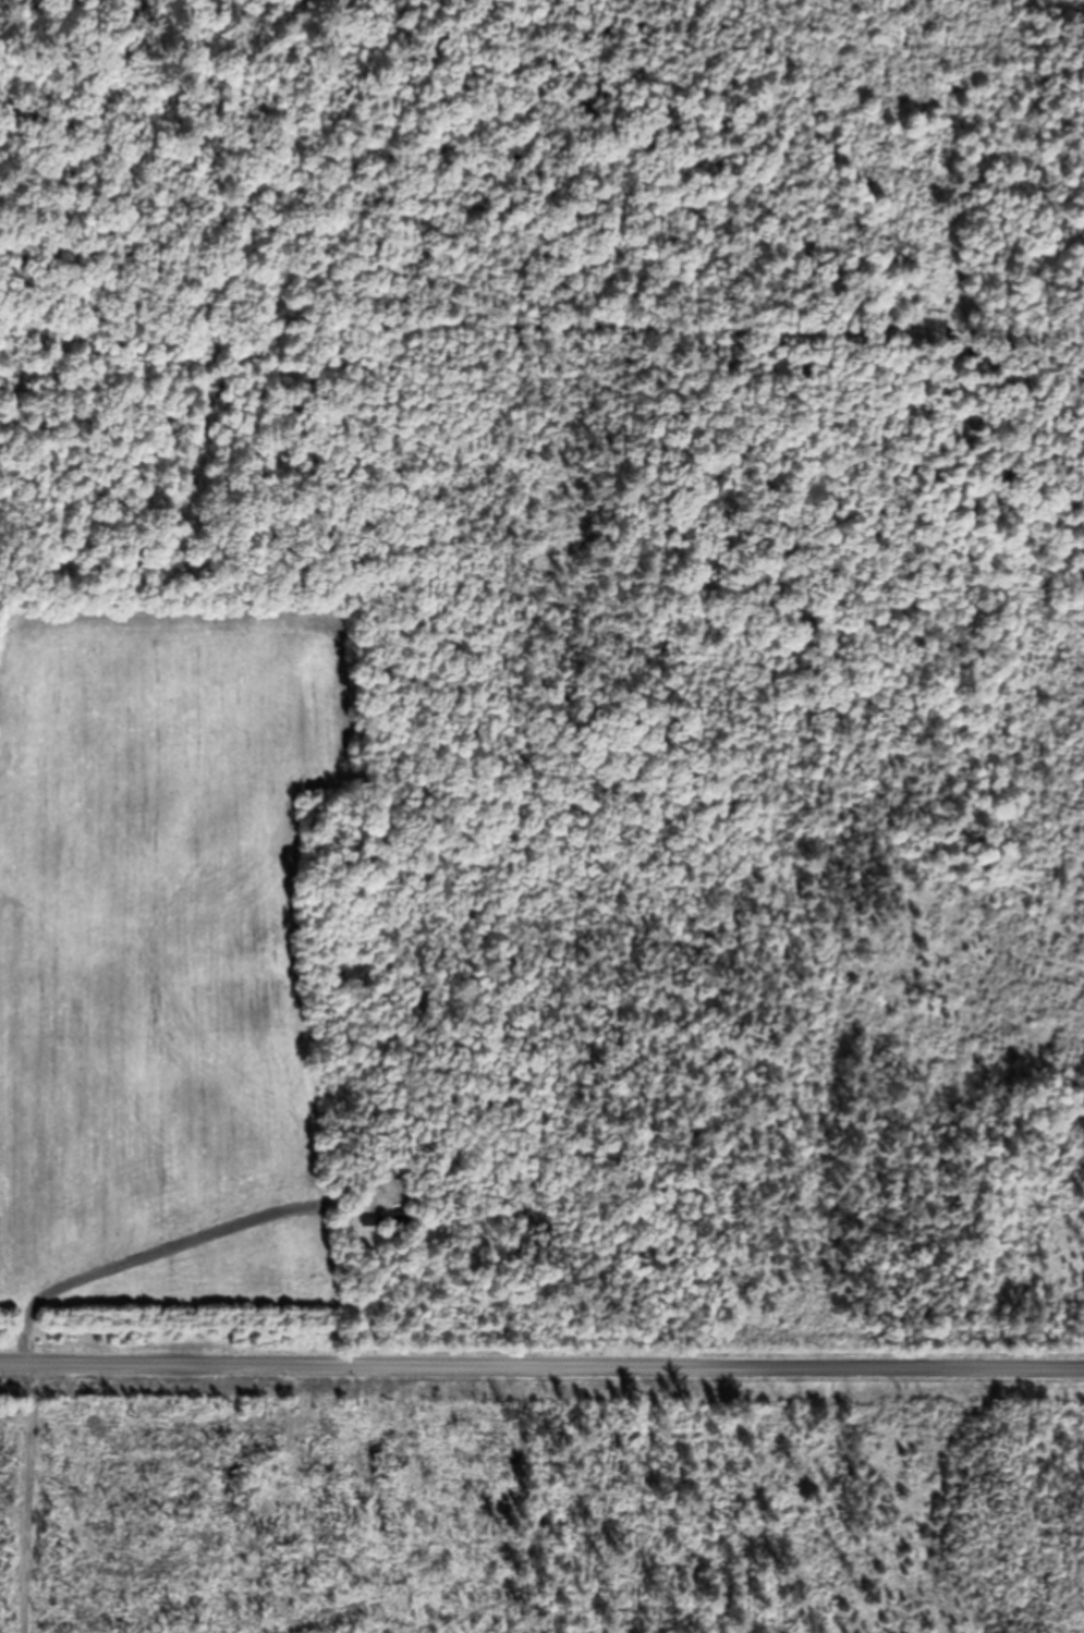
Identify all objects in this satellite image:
building: (386, 1218)
road: (541, 1370)

